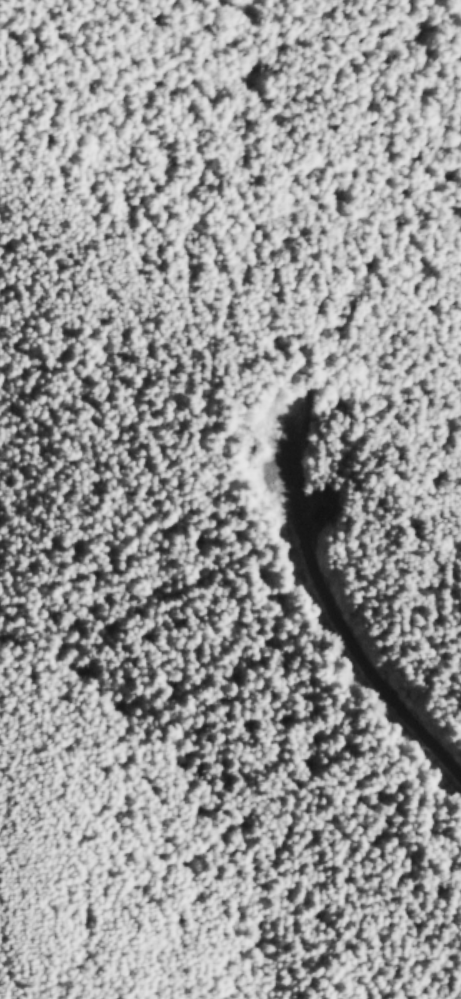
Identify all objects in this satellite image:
road: (350, 617)

